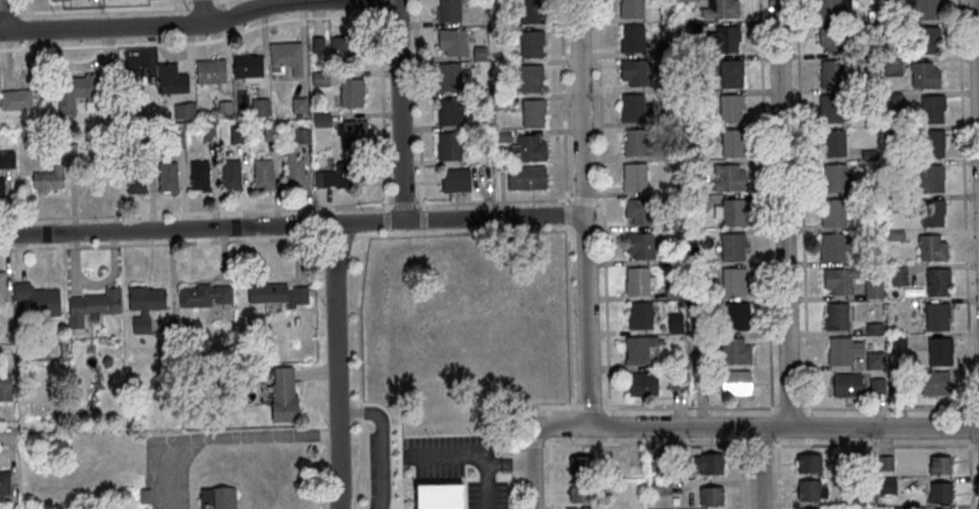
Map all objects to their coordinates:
road: (217, 0)
road: (182, 3)
road: (200, 3)
road: (219, 4)
road: (379, 5)
road: (22, 6)
building: (630, 8)
building: (831, 8)
building: (926, 8)
road: (103, 9)
building: (720, 9)
building: (448, 10)
building: (529, 10)
road: (201, 12)
road: (8, 13)
road: (411, 13)
building: (666, 13)
road: (221, 15)
road: (397, 15)
road: (5, 16)
building: (869, 16)
road: (174, 25)
building: (690, 28)
road: (223, 30)
building: (631, 38)
building: (831, 38)
building: (722, 39)
building: (927, 39)
building: (451, 41)
road: (195, 42)
building: (531, 43)
building: (317, 44)
road: (977, 47)
building: (666, 48)
building: (343, 49)
building: (866, 49)
building: (478, 52)
building: (285, 56)
building: (495, 63)
building: (891, 66)
building: (247, 67)
building: (209, 70)
building: (636, 71)
building: (730, 73)
building: (830, 73)
building: (923, 75)
building: (448, 76)
building: (529, 77)
building: (319, 78)
building: (171, 79)
building: (667, 82)
building: (87, 92)
building: (348, 92)
building: (694, 98)
building: (891, 99)
building: (15, 100)
road: (562, 102)
building: (298, 104)
road: (418, 104)
building: (259, 106)
building: (224, 107)
building: (633, 107)
building: (730, 107)
building: (832, 108)
building: (931, 108)
road: (382, 109)
building: (182, 110)
road: (400, 110)
building: (451, 111)
building: (532, 112)
building: (667, 116)
building: (321, 119)
building: (207, 131)
building: (270, 131)
building: (237, 133)
building: (352, 133)
building: (891, 134)
building: (143, 135)
building: (301, 135)
building: (502, 135)
building: (174, 137)
building: (636, 142)
building: (732, 142)
building: (931, 142)
building: (833, 143)
building: (448, 145)
building: (527, 148)
building: (68, 151)
building: (670, 152)
building: (867, 154)
building: (6, 158)
building: (693, 167)
building: (293, 168)
building: (892, 171)
building: (262, 173)
building: (231, 174)
building: (166, 175)
building: (199, 175)
building: (341, 175)
building: (633, 176)
building: (135, 177)
building: (526, 177)
building: (728, 177)
building: (833, 177)
building: (102, 178)
building: (930, 178)
building: (48, 179)
building: (455, 179)
building: (1, 186)
road: (500, 201)
building: (697, 202)
road: (601, 203)
road: (404, 204)
road: (800, 204)
building: (892, 204)
road: (764, 207)
road: (963, 207)
building: (638, 210)
building: (729, 211)
road: (196, 212)
road: (782, 212)
building: (832, 212)
building: (931, 212)
road: (566, 213)
road: (584, 213)
road: (493, 218)
road: (423, 219)
road: (386, 220)
building: (672, 221)
road: (201, 228)
road: (423, 231)
road: (486, 231)
building: (693, 233)
building: (895, 235)
road: (195, 242)
building: (639, 245)
building: (731, 246)
building: (833, 246)
building: (931, 247)
building: (672, 257)
building: (897, 275)
building: (838, 279)
building: (638, 280)
building: (732, 281)
building: (937, 281)
building: (1, 285)
building: (672, 290)
building: (873, 290)
building: (276, 293)
building: (203, 295)
building: (37, 299)
building: (691, 302)
building: (678, 304)
building: (143, 305)
building: (93, 306)
building: (694, 310)
road: (568, 314)
building: (640, 315)
building: (735, 316)
building: (836, 316)
building: (936, 316)
building: (873, 327)
building: (898, 339)
building: (699, 340)
building: (638, 348)
building: (842, 349)
building: (732, 351)
building: (939, 351)
building: (874, 360)
road: (336, 366)
building: (675, 380)
building: (700, 380)
building: (898, 381)
building: (735, 382)
building: (642, 383)
building: (935, 383)
building: (846, 384)
building: (876, 384)
building: (4, 388)
building: (283, 395)
road: (516, 406)
road: (590, 406)
road: (689, 406)
road: (788, 408)
road: (888, 408)
road: (978, 409)
road: (365, 413)
road: (7, 420)
road: (755, 425)
road: (773, 425)
road: (969, 426)
road: (7, 437)
road: (219, 437)
road: (516, 444)
road: (530, 444)
road: (644, 444)
road: (758, 444)
road: (9, 445)
road: (872, 445)
road: (977, 445)
road: (5, 450)
parking lot: (438, 453)
road: (472, 455)
building: (849, 461)
road: (509, 462)
building: (707, 462)
building: (809, 463)
building: (885, 463)
building: (580, 464)
building: (655, 465)
building: (939, 465)
road: (759, 466)
road: (532, 468)
road: (379, 470)
road: (777, 472)
road: (969, 473)
building: (906, 482)
building: (4, 483)
building: (661, 487)
building: (579, 490)
building: (810, 490)
building: (939, 492)
parking lot: (486, 495)
building: (710, 495)
building: (143, 496)
building: (440, 496)
building: (217, 499)
building: (857, 499)
building: (9, 507)
building: (900, 508)

